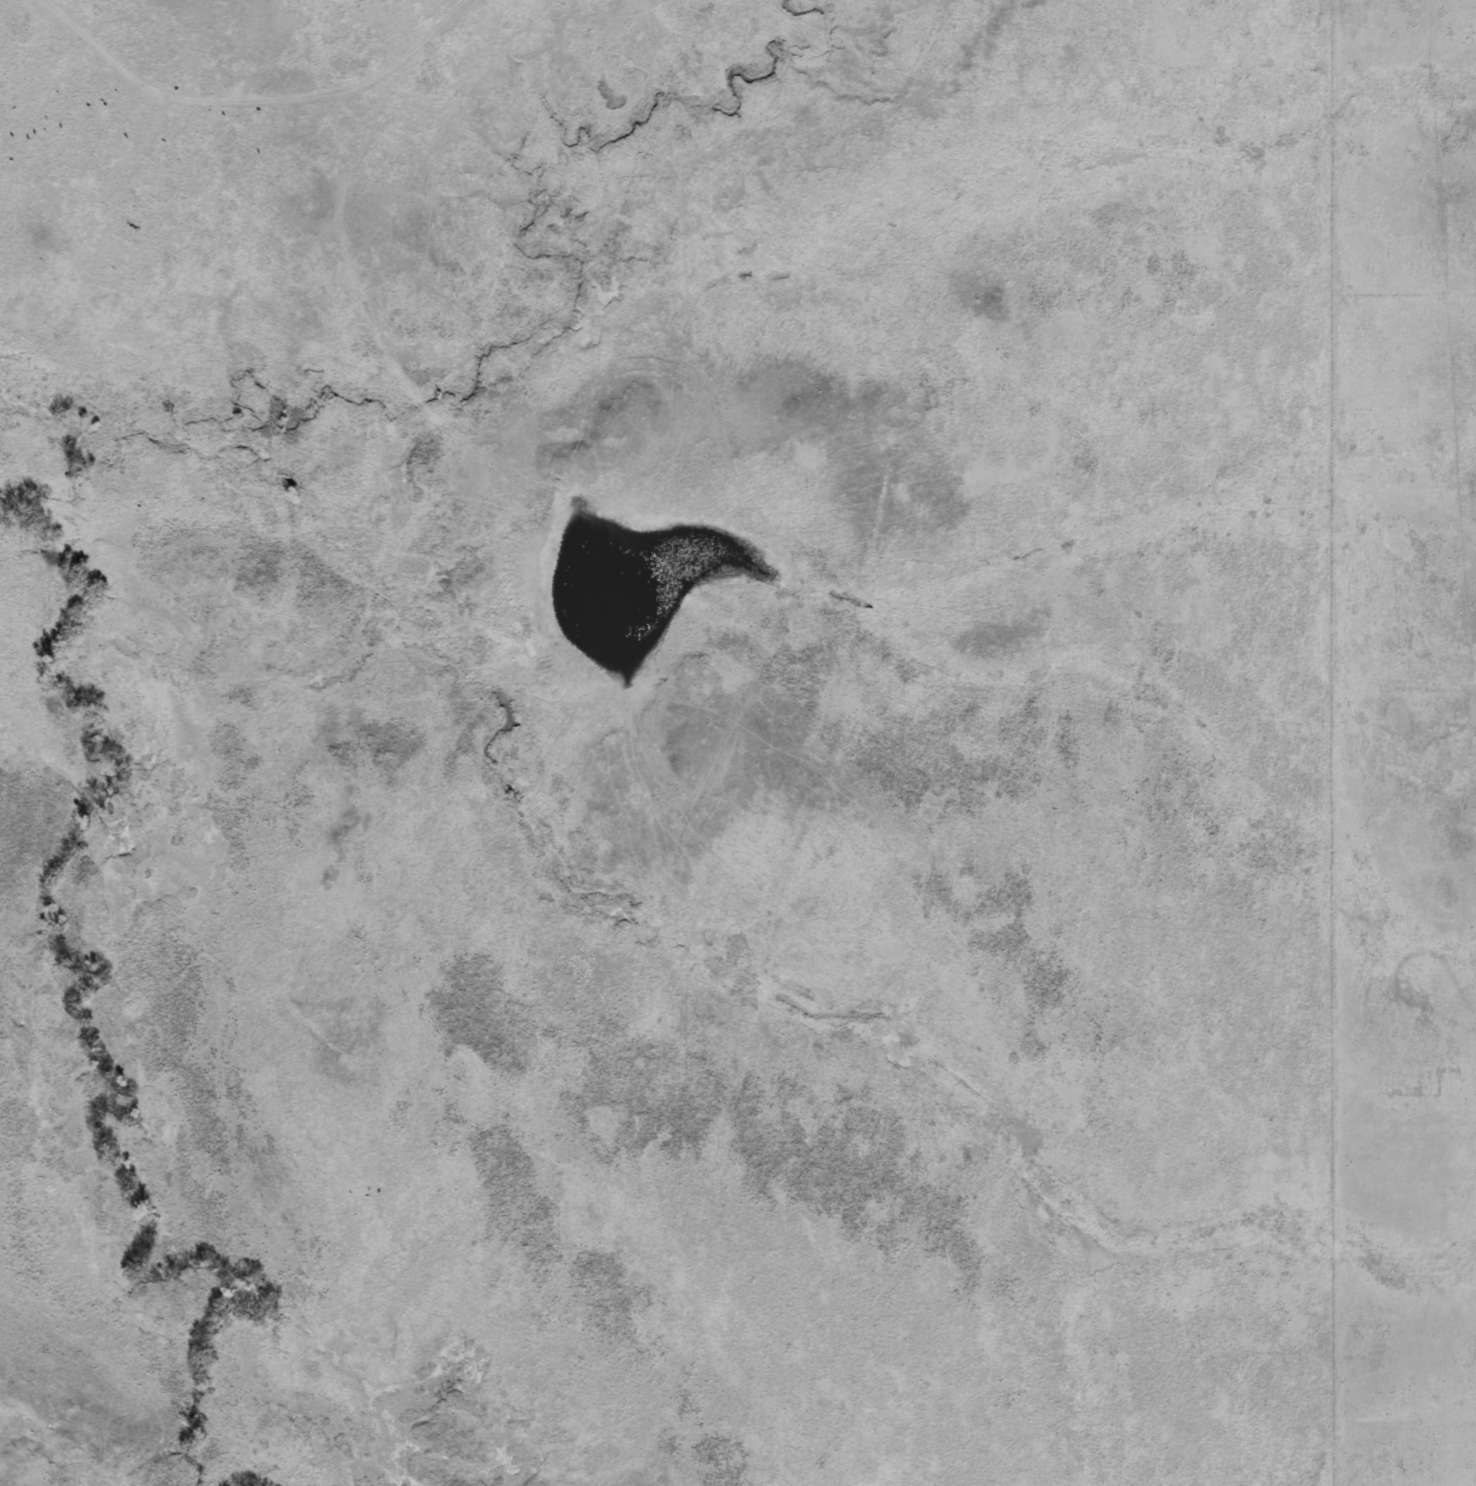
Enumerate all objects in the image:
road: (398, 154)

